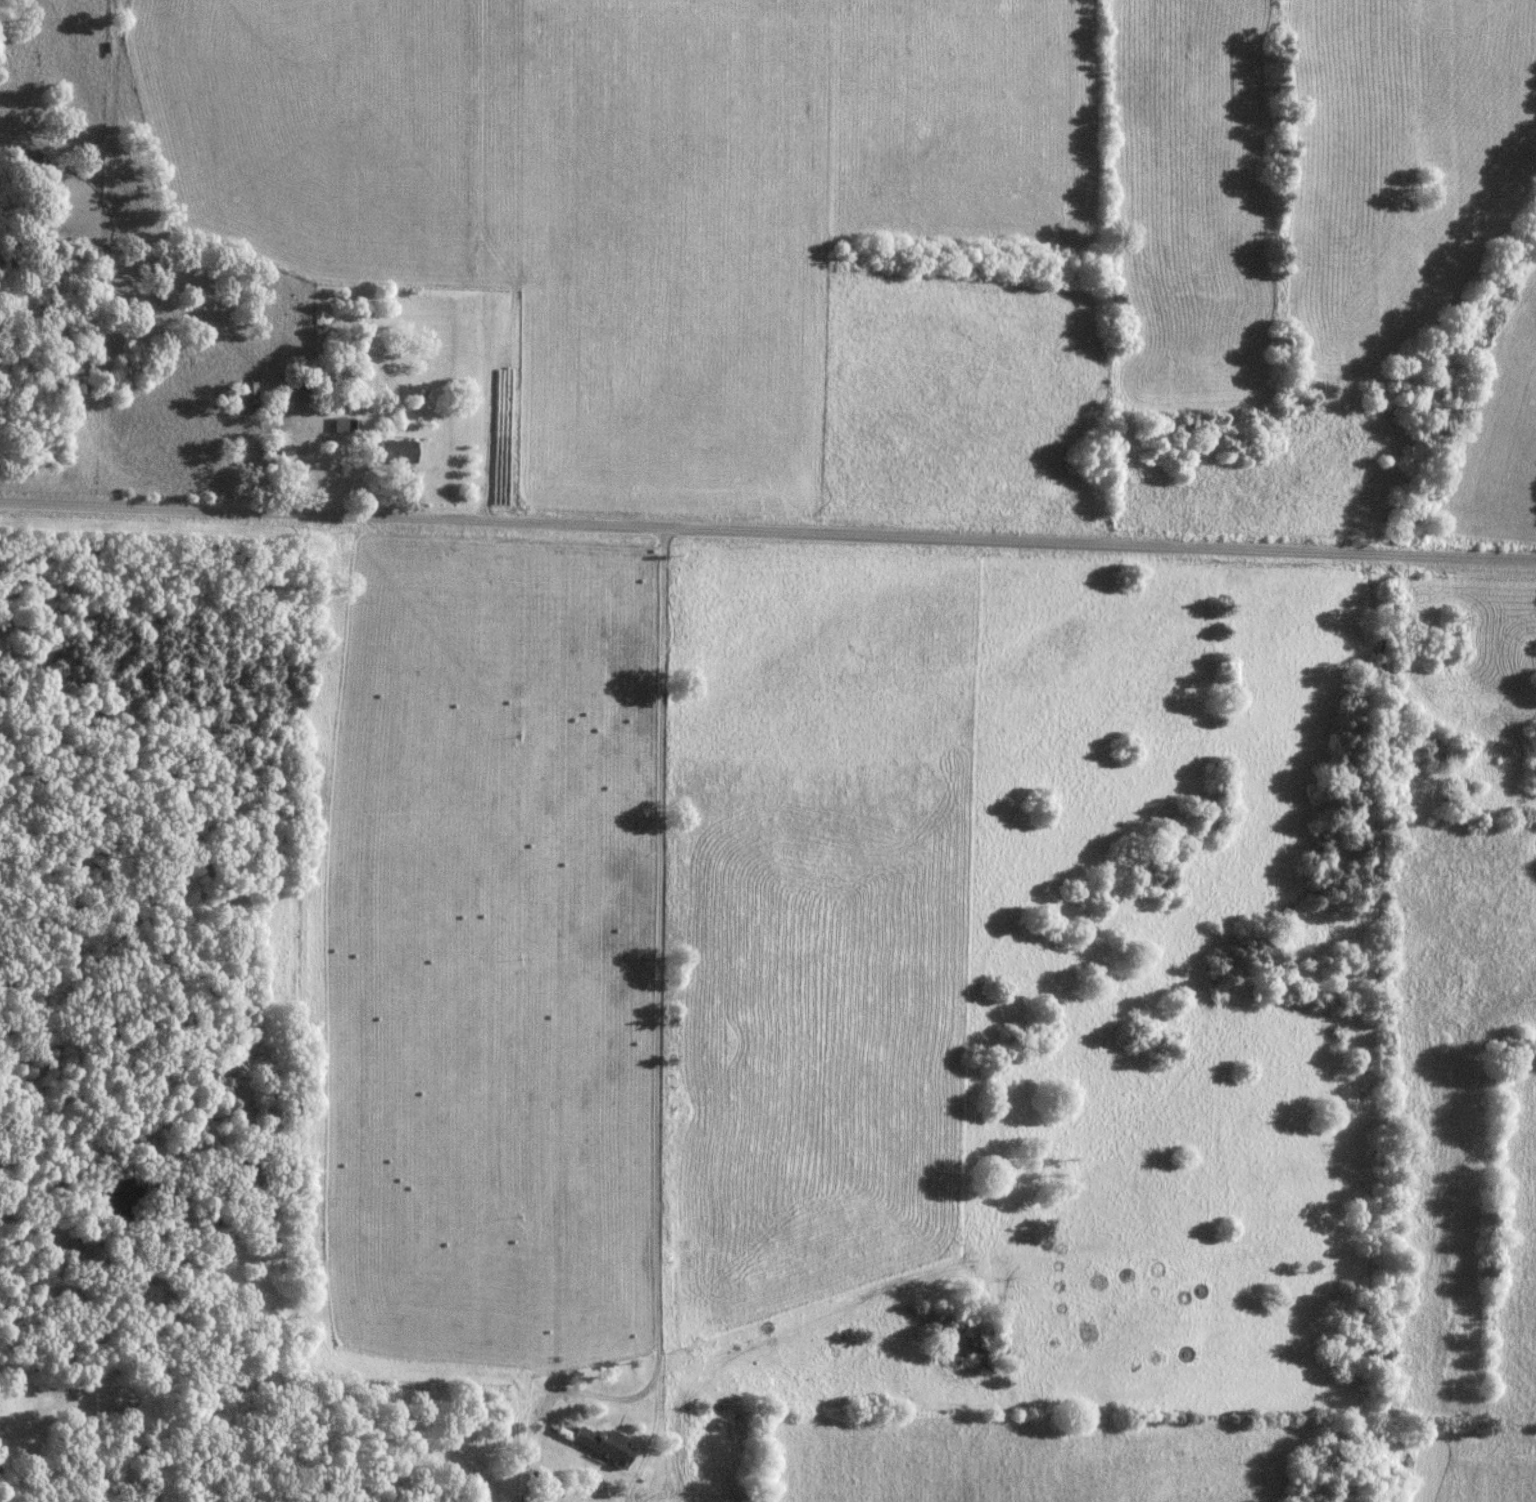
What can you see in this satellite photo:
building: (303, 392)
building: (244, 396)
road: (365, 446)
building: (394, 452)
road: (767, 529)
building: (1457, 794)
road: (525, 1387)
building: (601, 1446)

